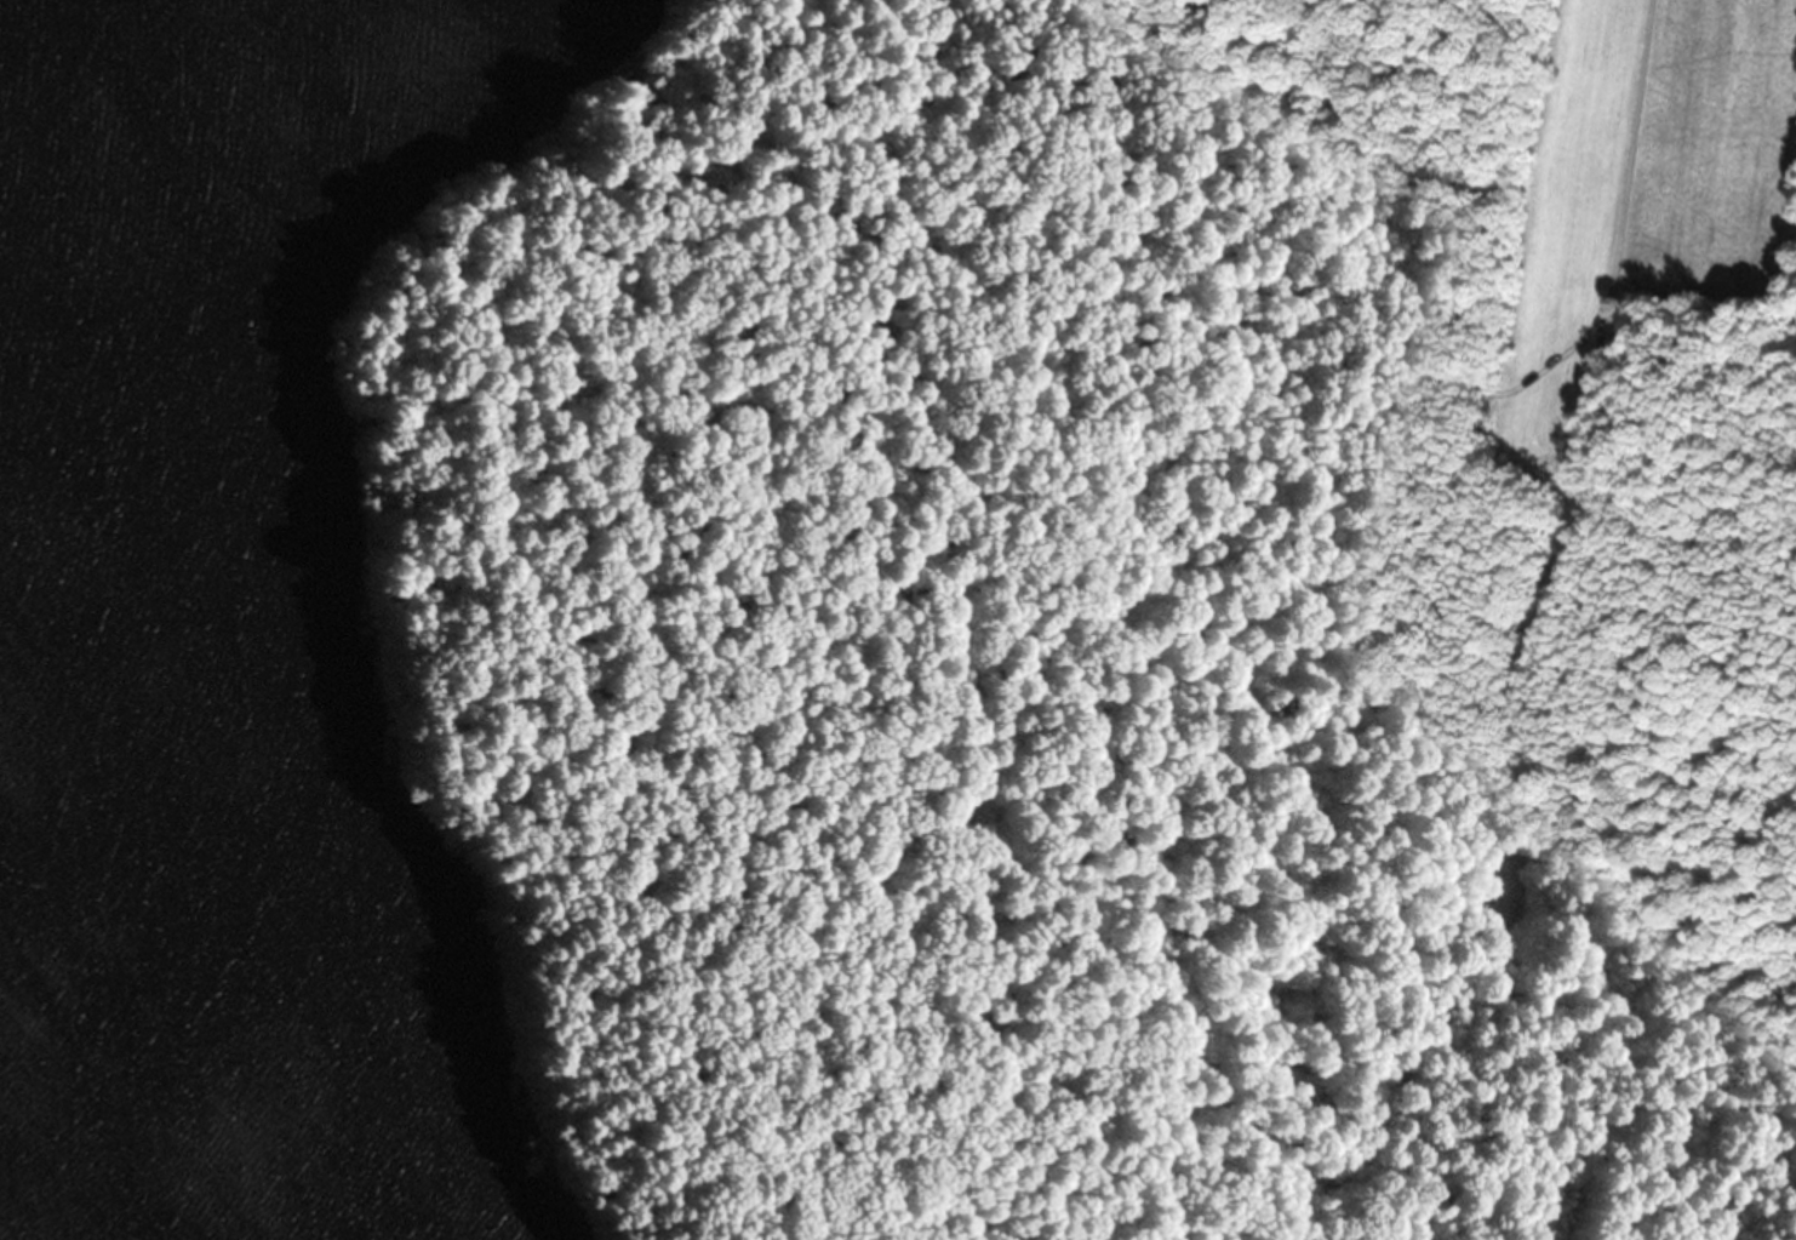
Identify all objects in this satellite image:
crop: (1643, 198)
road: (1618, 230)
river: (40, 1159)

